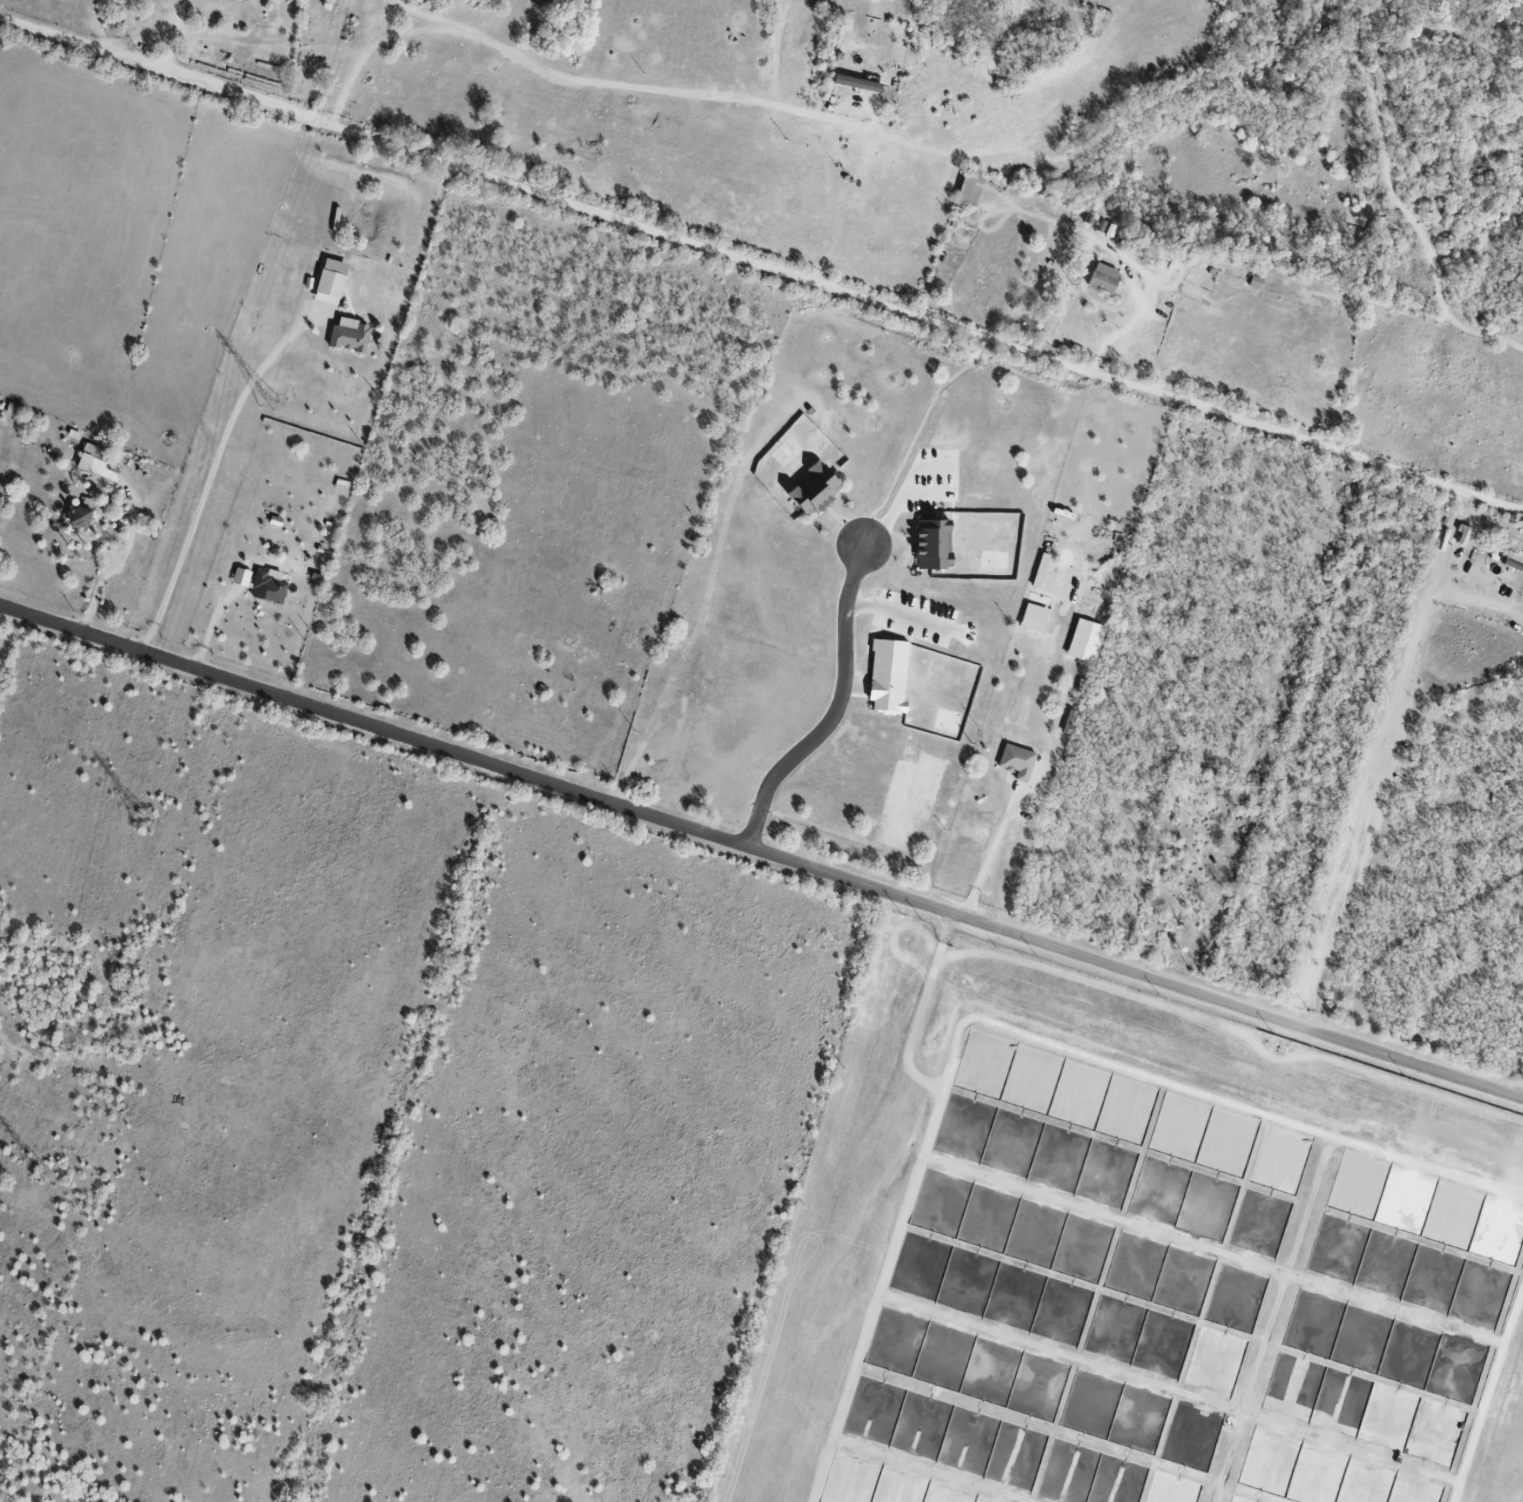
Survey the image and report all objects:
building: (238, 0)
road: (410, 28)
road: (170, 35)
road: (362, 64)
road: (616, 86)
building: (968, 189)
road: (1066, 223)
road: (760, 267)
building: (1103, 278)
building: (330, 281)
building: (349, 335)
power tower: (271, 406)
building: (93, 451)
road: (208, 475)
building: (340, 484)
building: (813, 490)
road: (899, 491)
building: (79, 518)
building: (932, 544)
building: (1039, 570)
building: (240, 576)
building: (267, 586)
road: (95, 589)
road: (898, 601)
building: (1033, 617)
road: (208, 627)
building: (1085, 640)
building: (887, 675)
road: (836, 708)
road: (1381, 756)
building: (1016, 761)
power tower: (145, 825)
road: (761, 852)
road: (986, 861)
road: (946, 933)
road: (1005, 1023)
road: (1236, 1026)
road: (916, 1029)
power tower: (39, 1174)
wastewater plant: (1129, 1260)
road: (1489, 1398)

